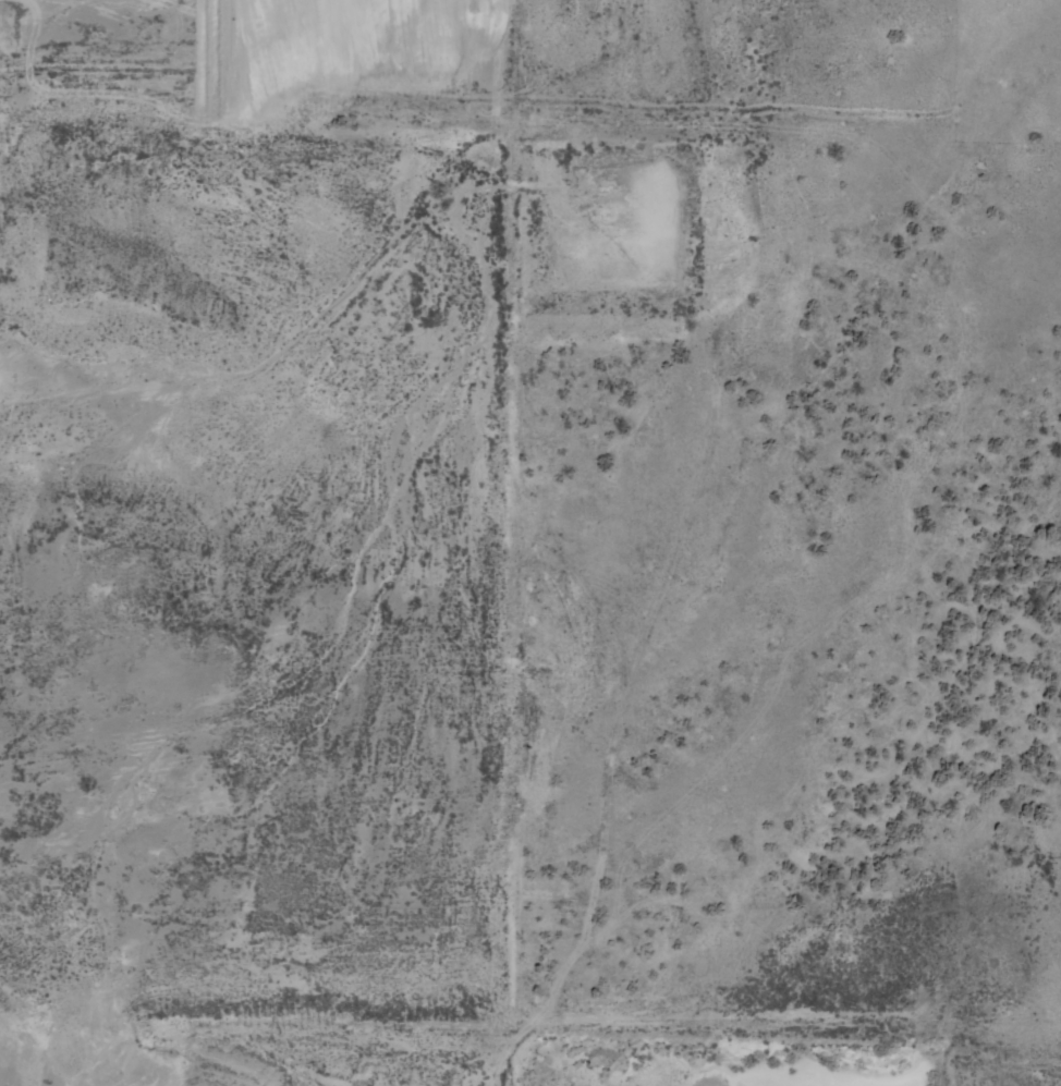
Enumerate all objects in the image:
road: (530, 1039)

